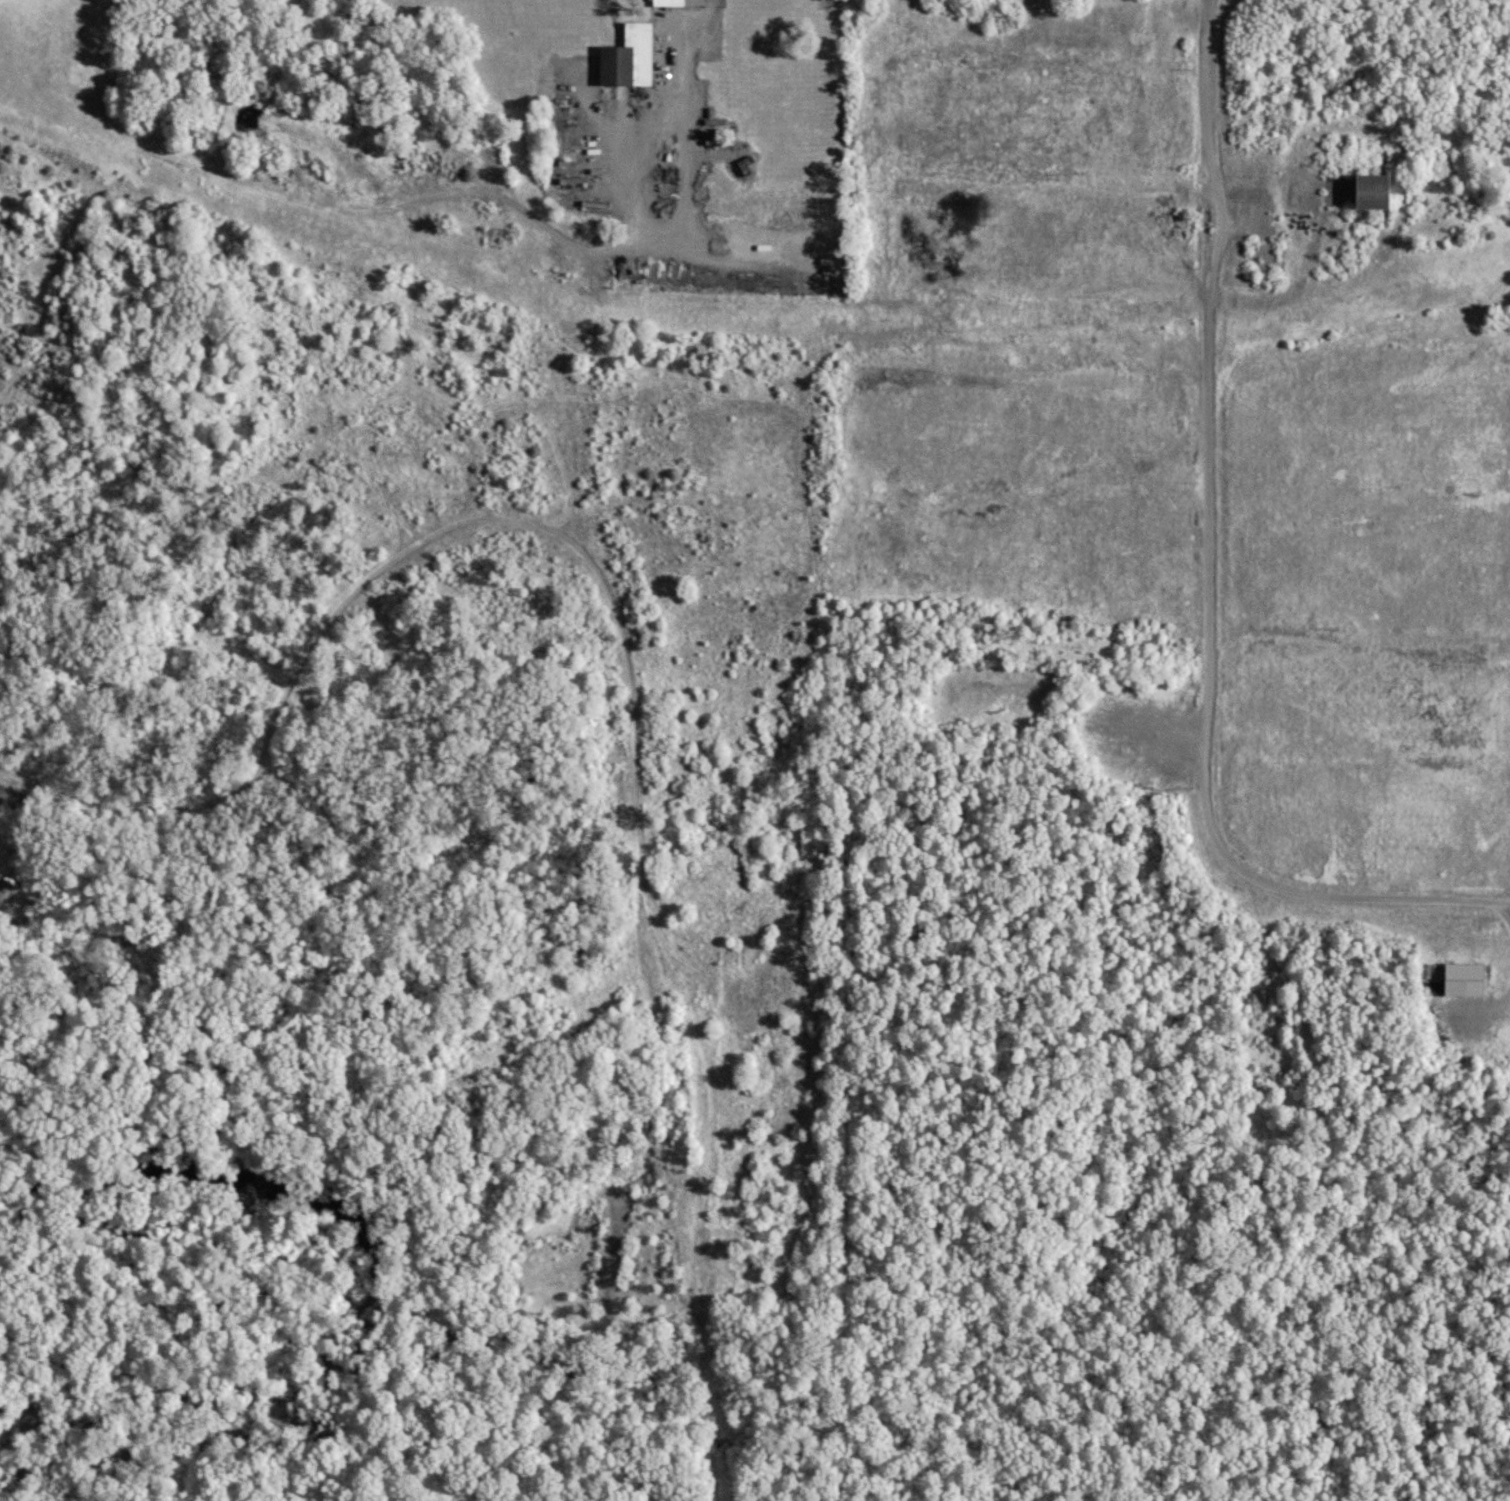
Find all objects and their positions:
building: (667, 2)
road: (701, 29)
building: (625, 57)
building: (743, 166)
building: (1368, 191)
road: (1212, 580)
building: (1461, 979)

